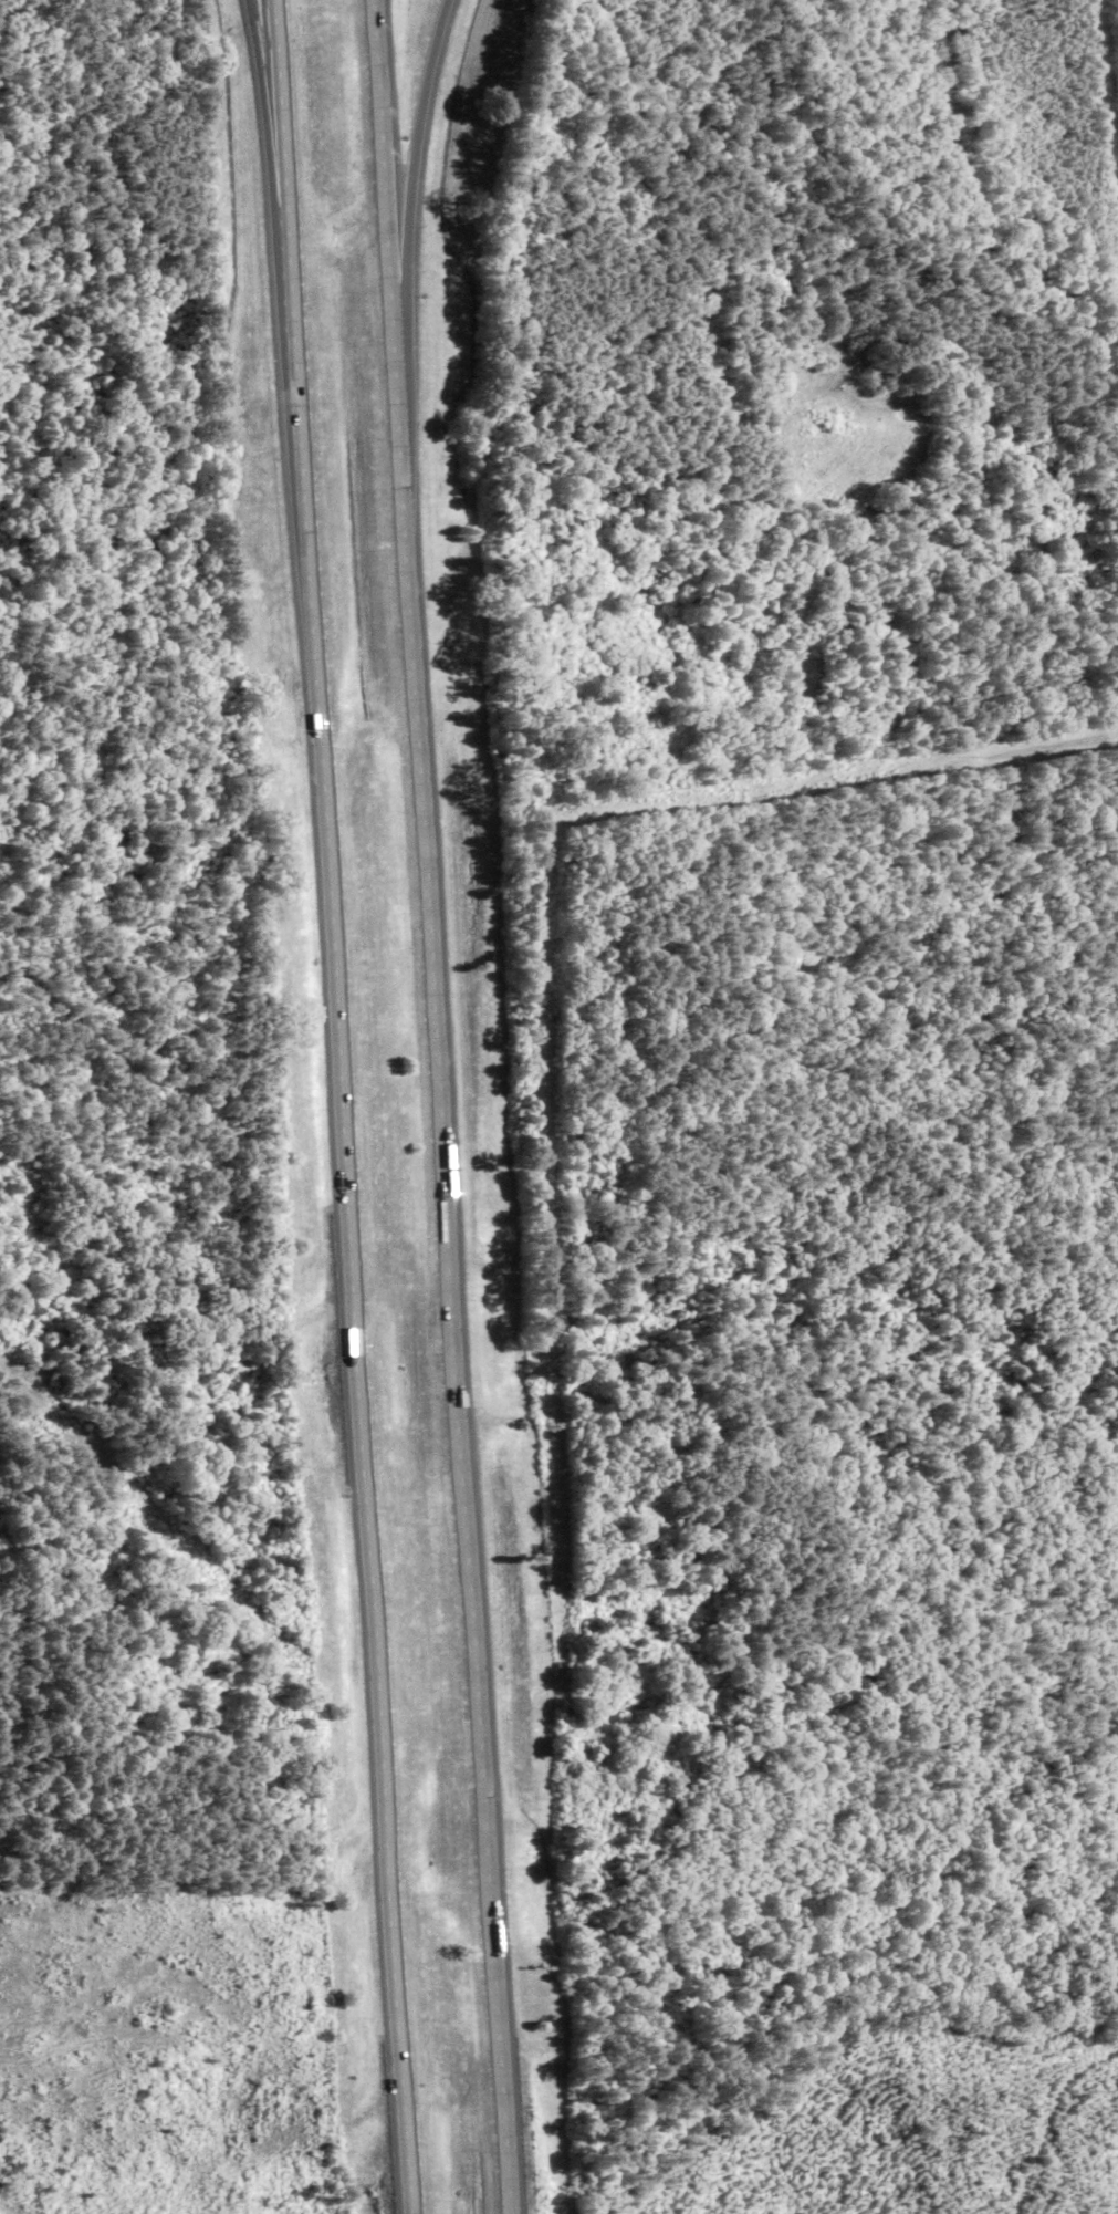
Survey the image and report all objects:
road: (1110, 91)
road: (271, 128)
road: (415, 168)
road: (386, 170)
road: (433, 936)
road: (345, 1106)
road: (491, 1873)

